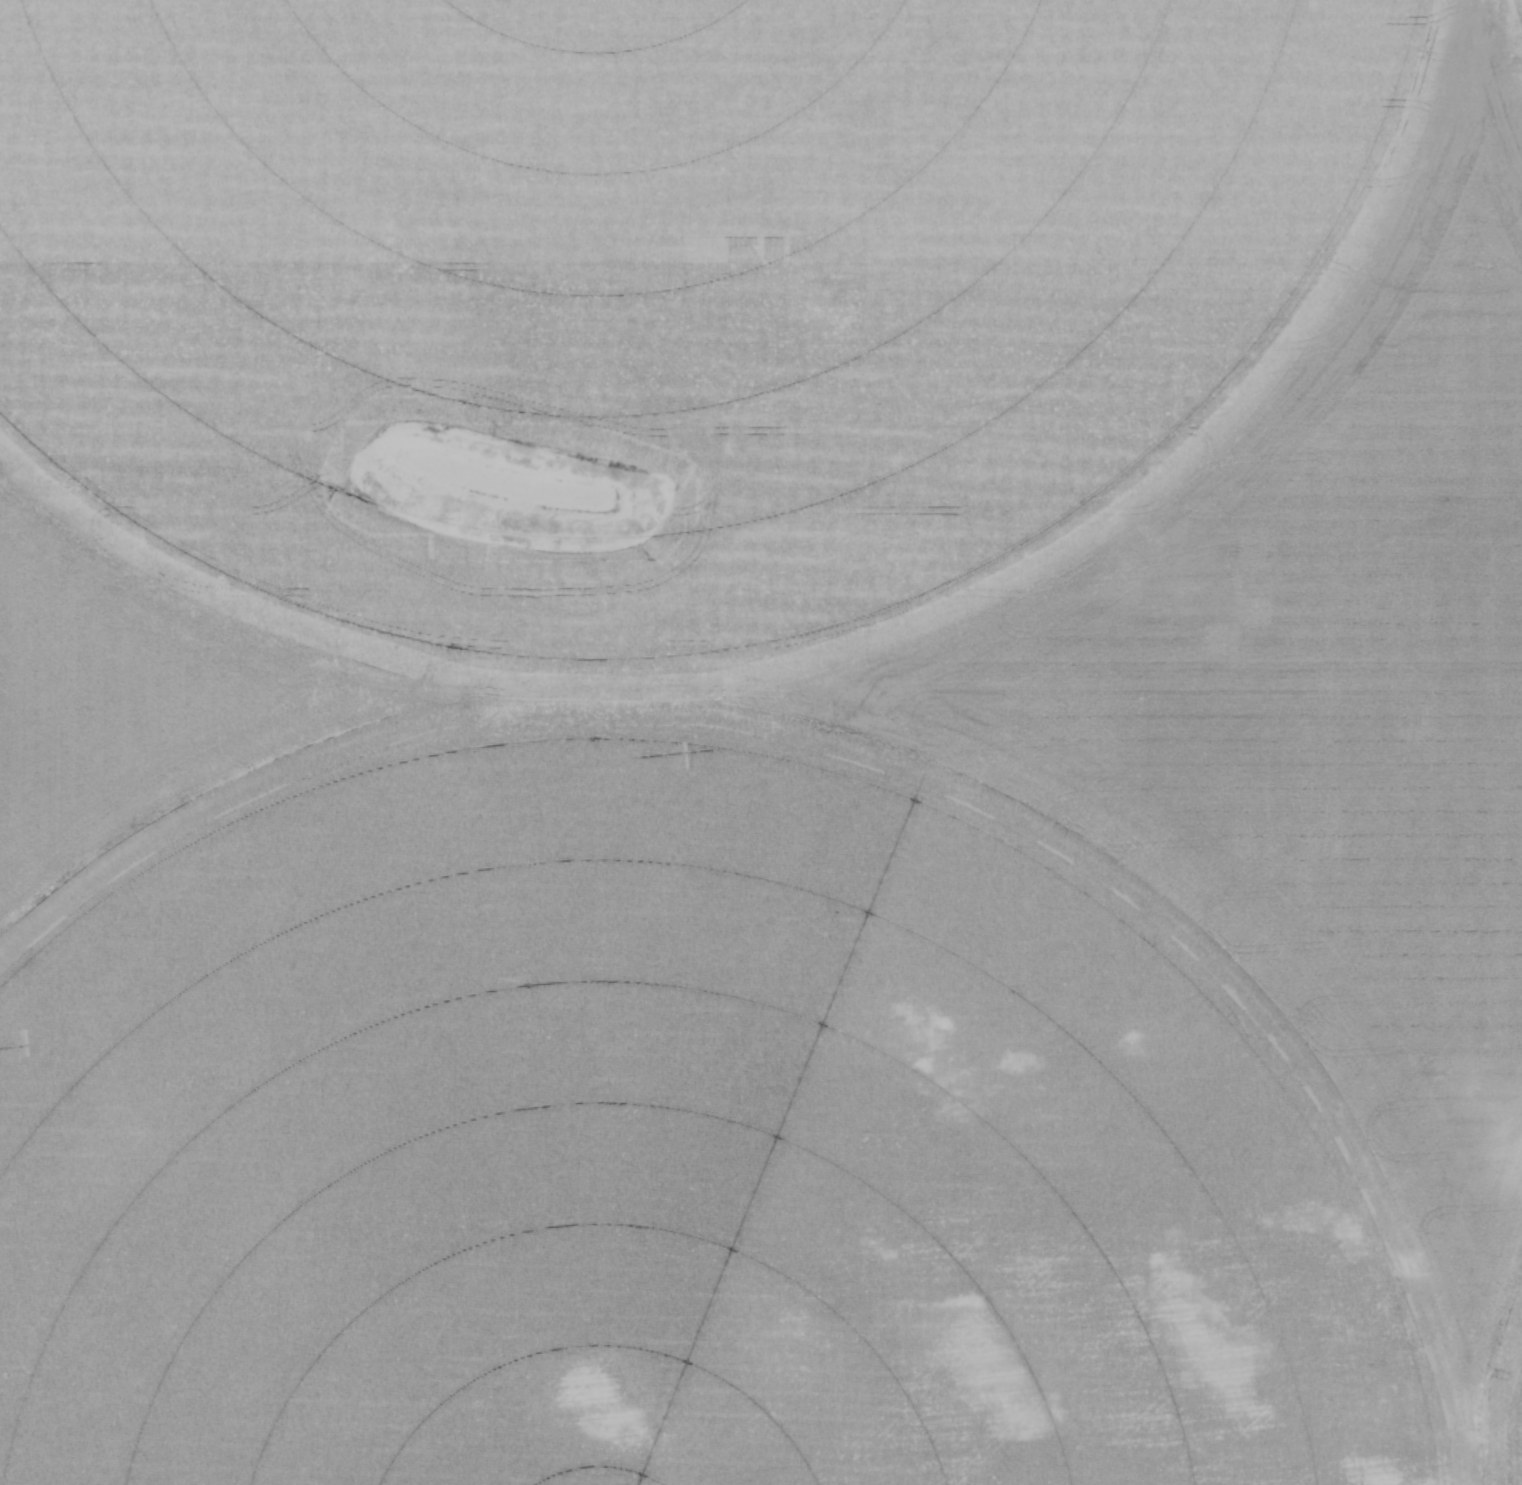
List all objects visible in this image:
crop: (761, 742)

